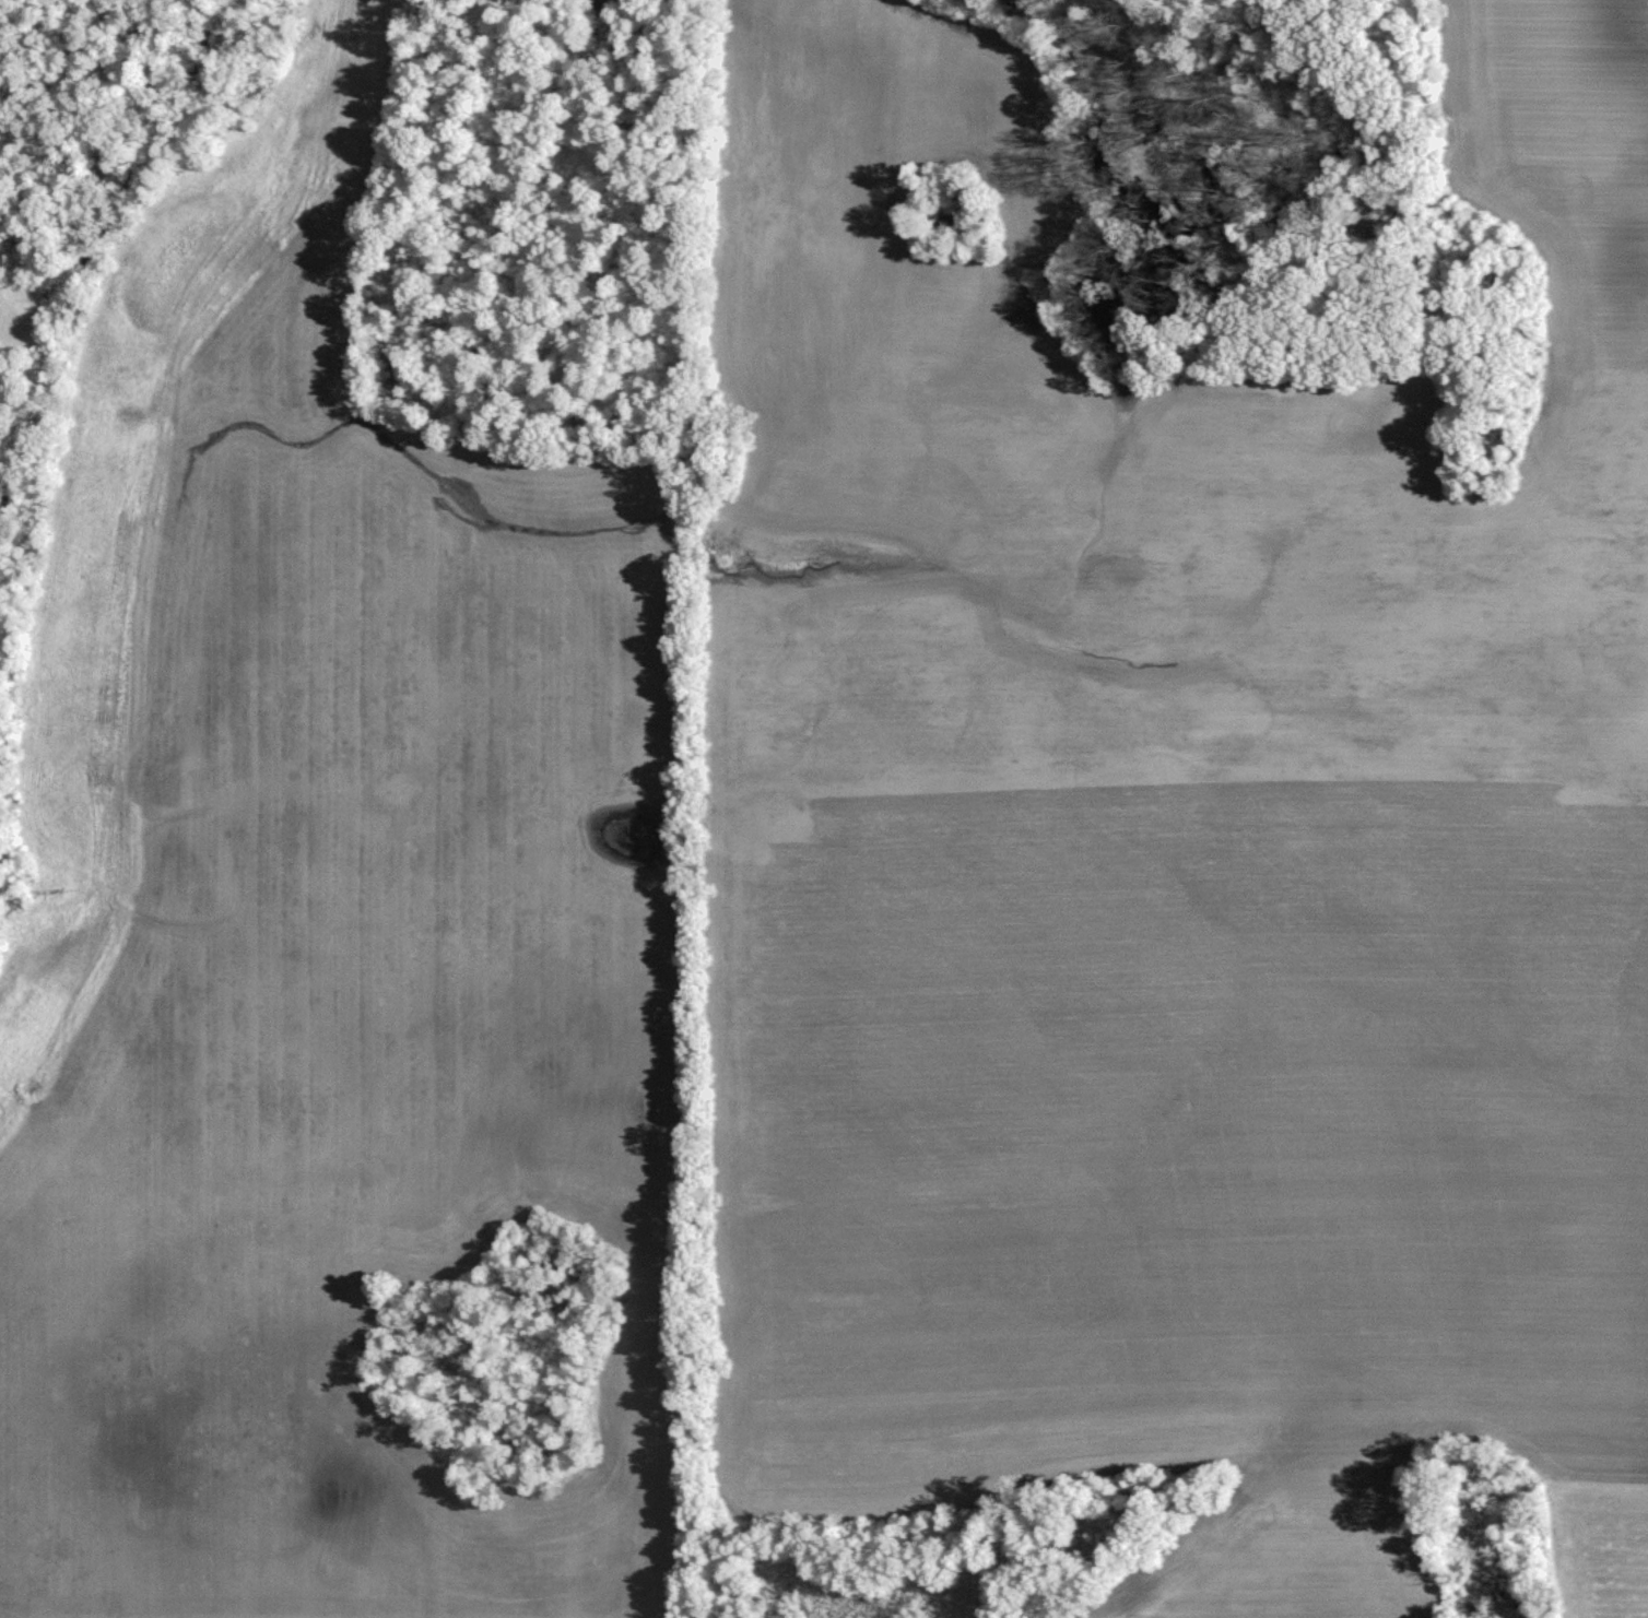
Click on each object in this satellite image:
crop: (1173, 828)
crop: (357, 1021)
crop: (1286, 1555)

